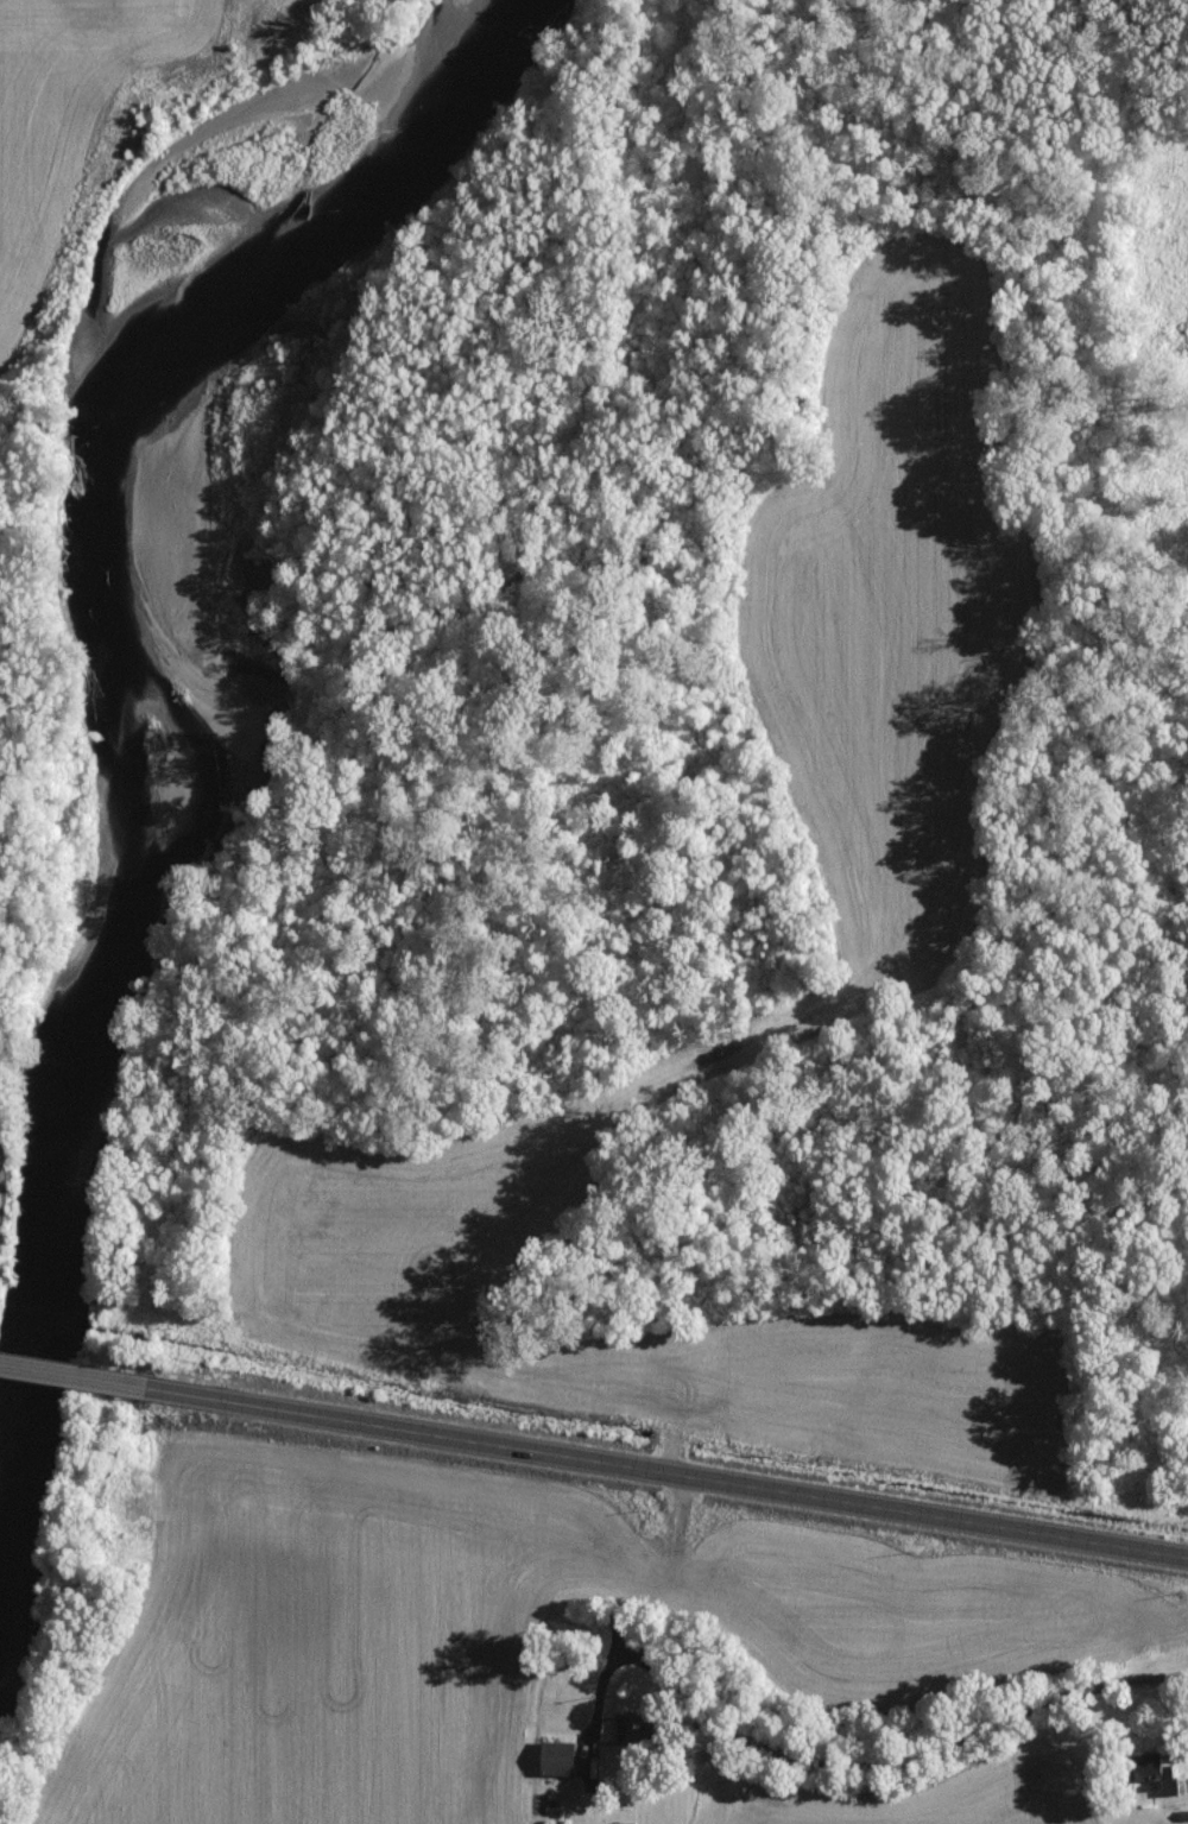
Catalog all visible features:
river: (251, 700)
road: (77, 1372)
road: (670, 1475)
building: (627, 1728)
building: (551, 1757)
road: (840, 1762)
building: (1146, 1773)

